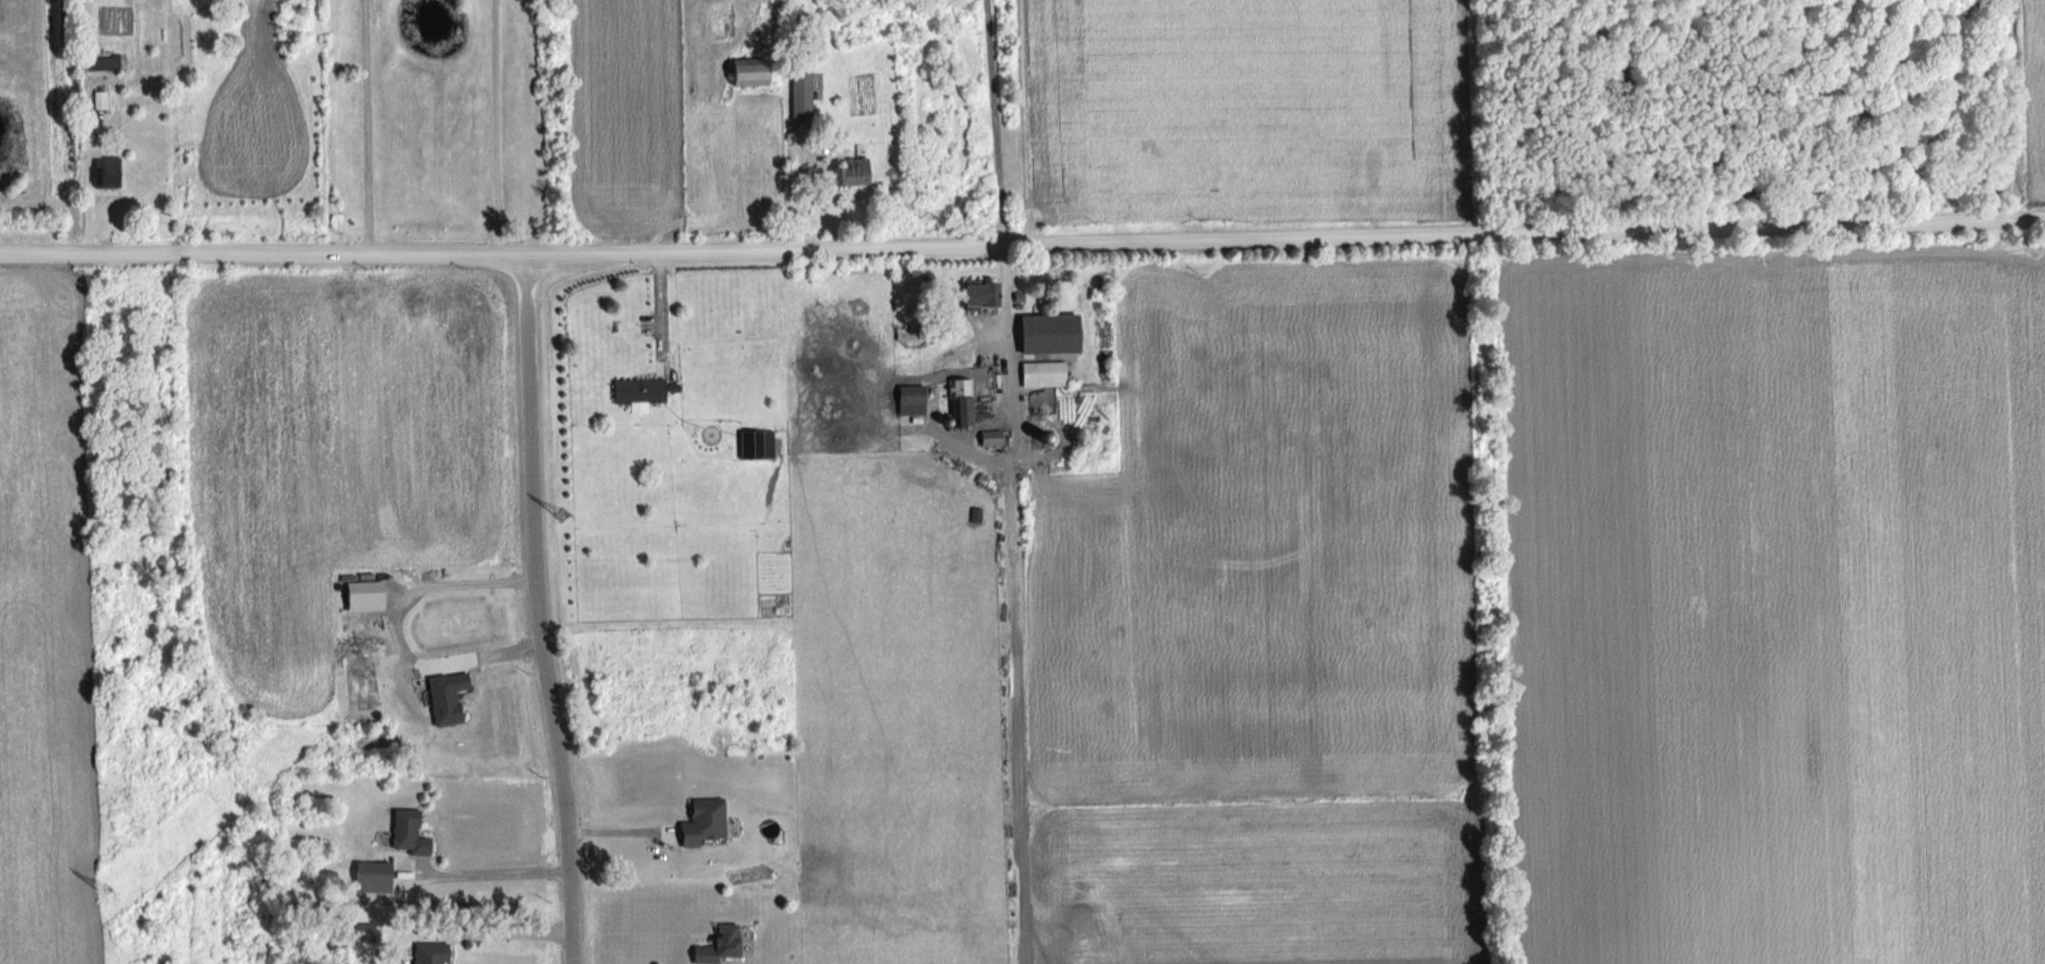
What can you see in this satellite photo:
building: (100, 65)
building: (744, 74)
crop: (2035, 91)
building: (799, 98)
building: (98, 102)
crop: (1245, 110)
crop: (252, 117)
crop: (624, 118)
road: (995, 121)
road: (363, 127)
road: (487, 127)
building: (104, 174)
building: (850, 174)
power tower: (913, 224)
road: (1022, 242)
road: (664, 308)
building: (1044, 336)
road: (1012, 340)
building: (1041, 376)
building: (635, 395)
building: (907, 397)
building: (961, 404)
building: (986, 440)
power tower: (561, 520)
crop: (1777, 603)
road: (539, 609)
road: (395, 622)
crop: (1264, 630)
crop: (45, 633)
building: (442, 698)
building: (699, 823)
road: (627, 833)
building: (405, 835)
road: (484, 869)
building: (367, 876)
power tower: (106, 892)
road: (510, 934)
building: (713, 945)
building: (426, 954)

